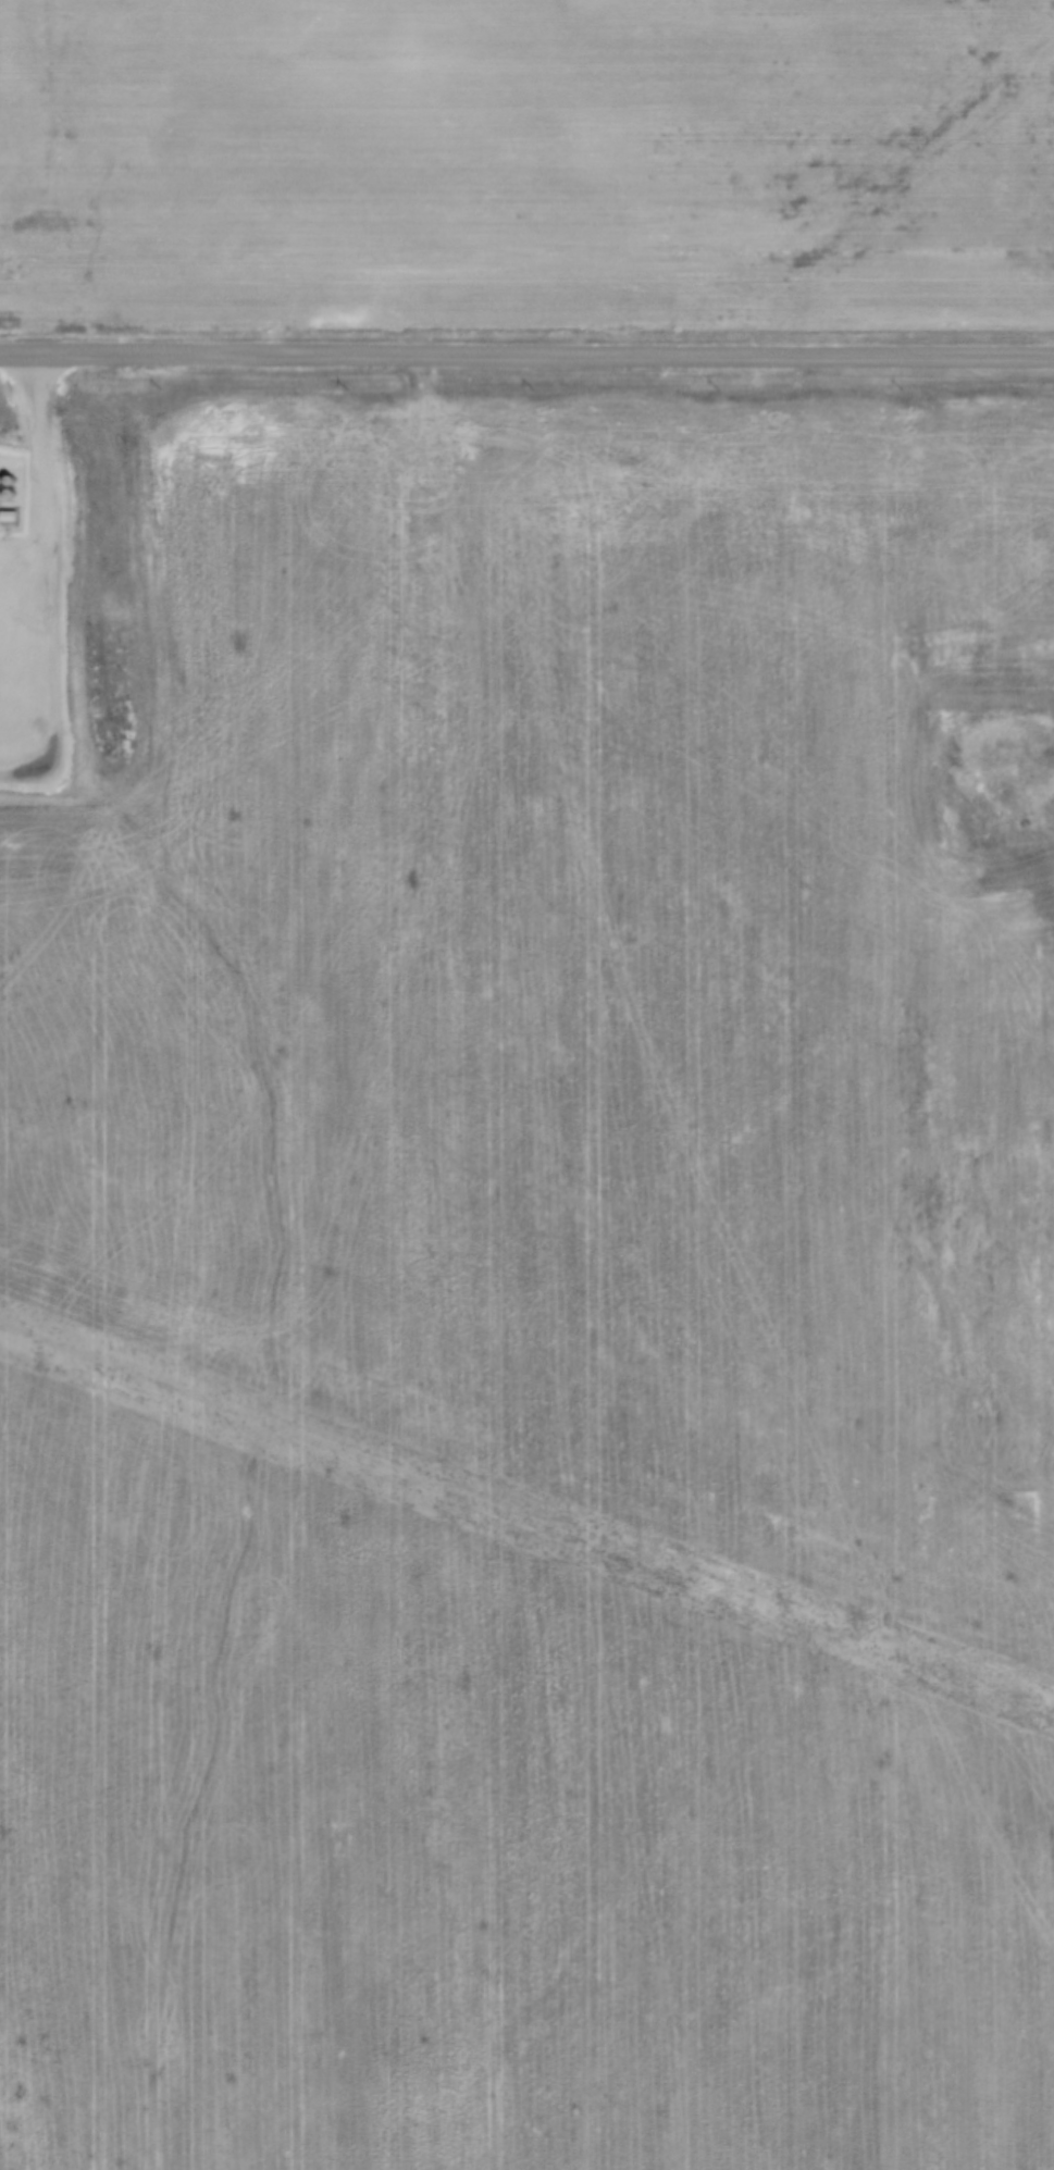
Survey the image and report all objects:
road: (526, 355)

